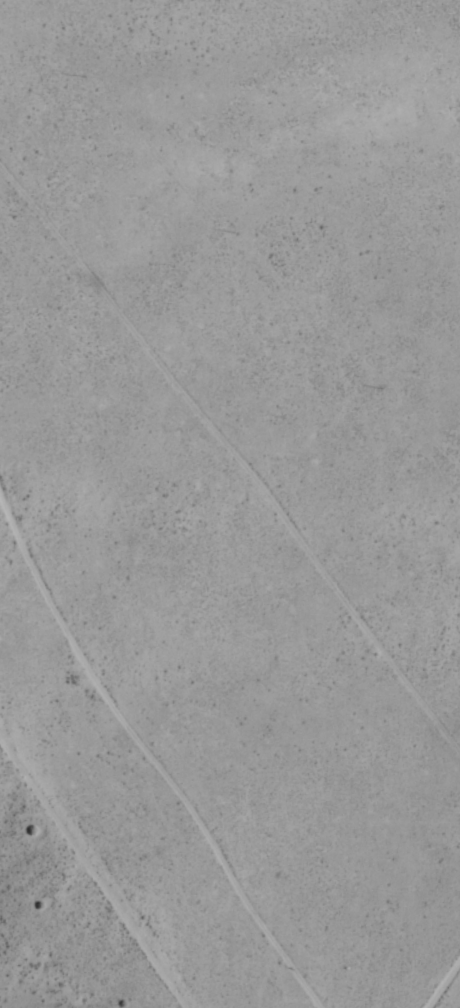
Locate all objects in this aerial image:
road: (218, 65)
road: (240, 512)

